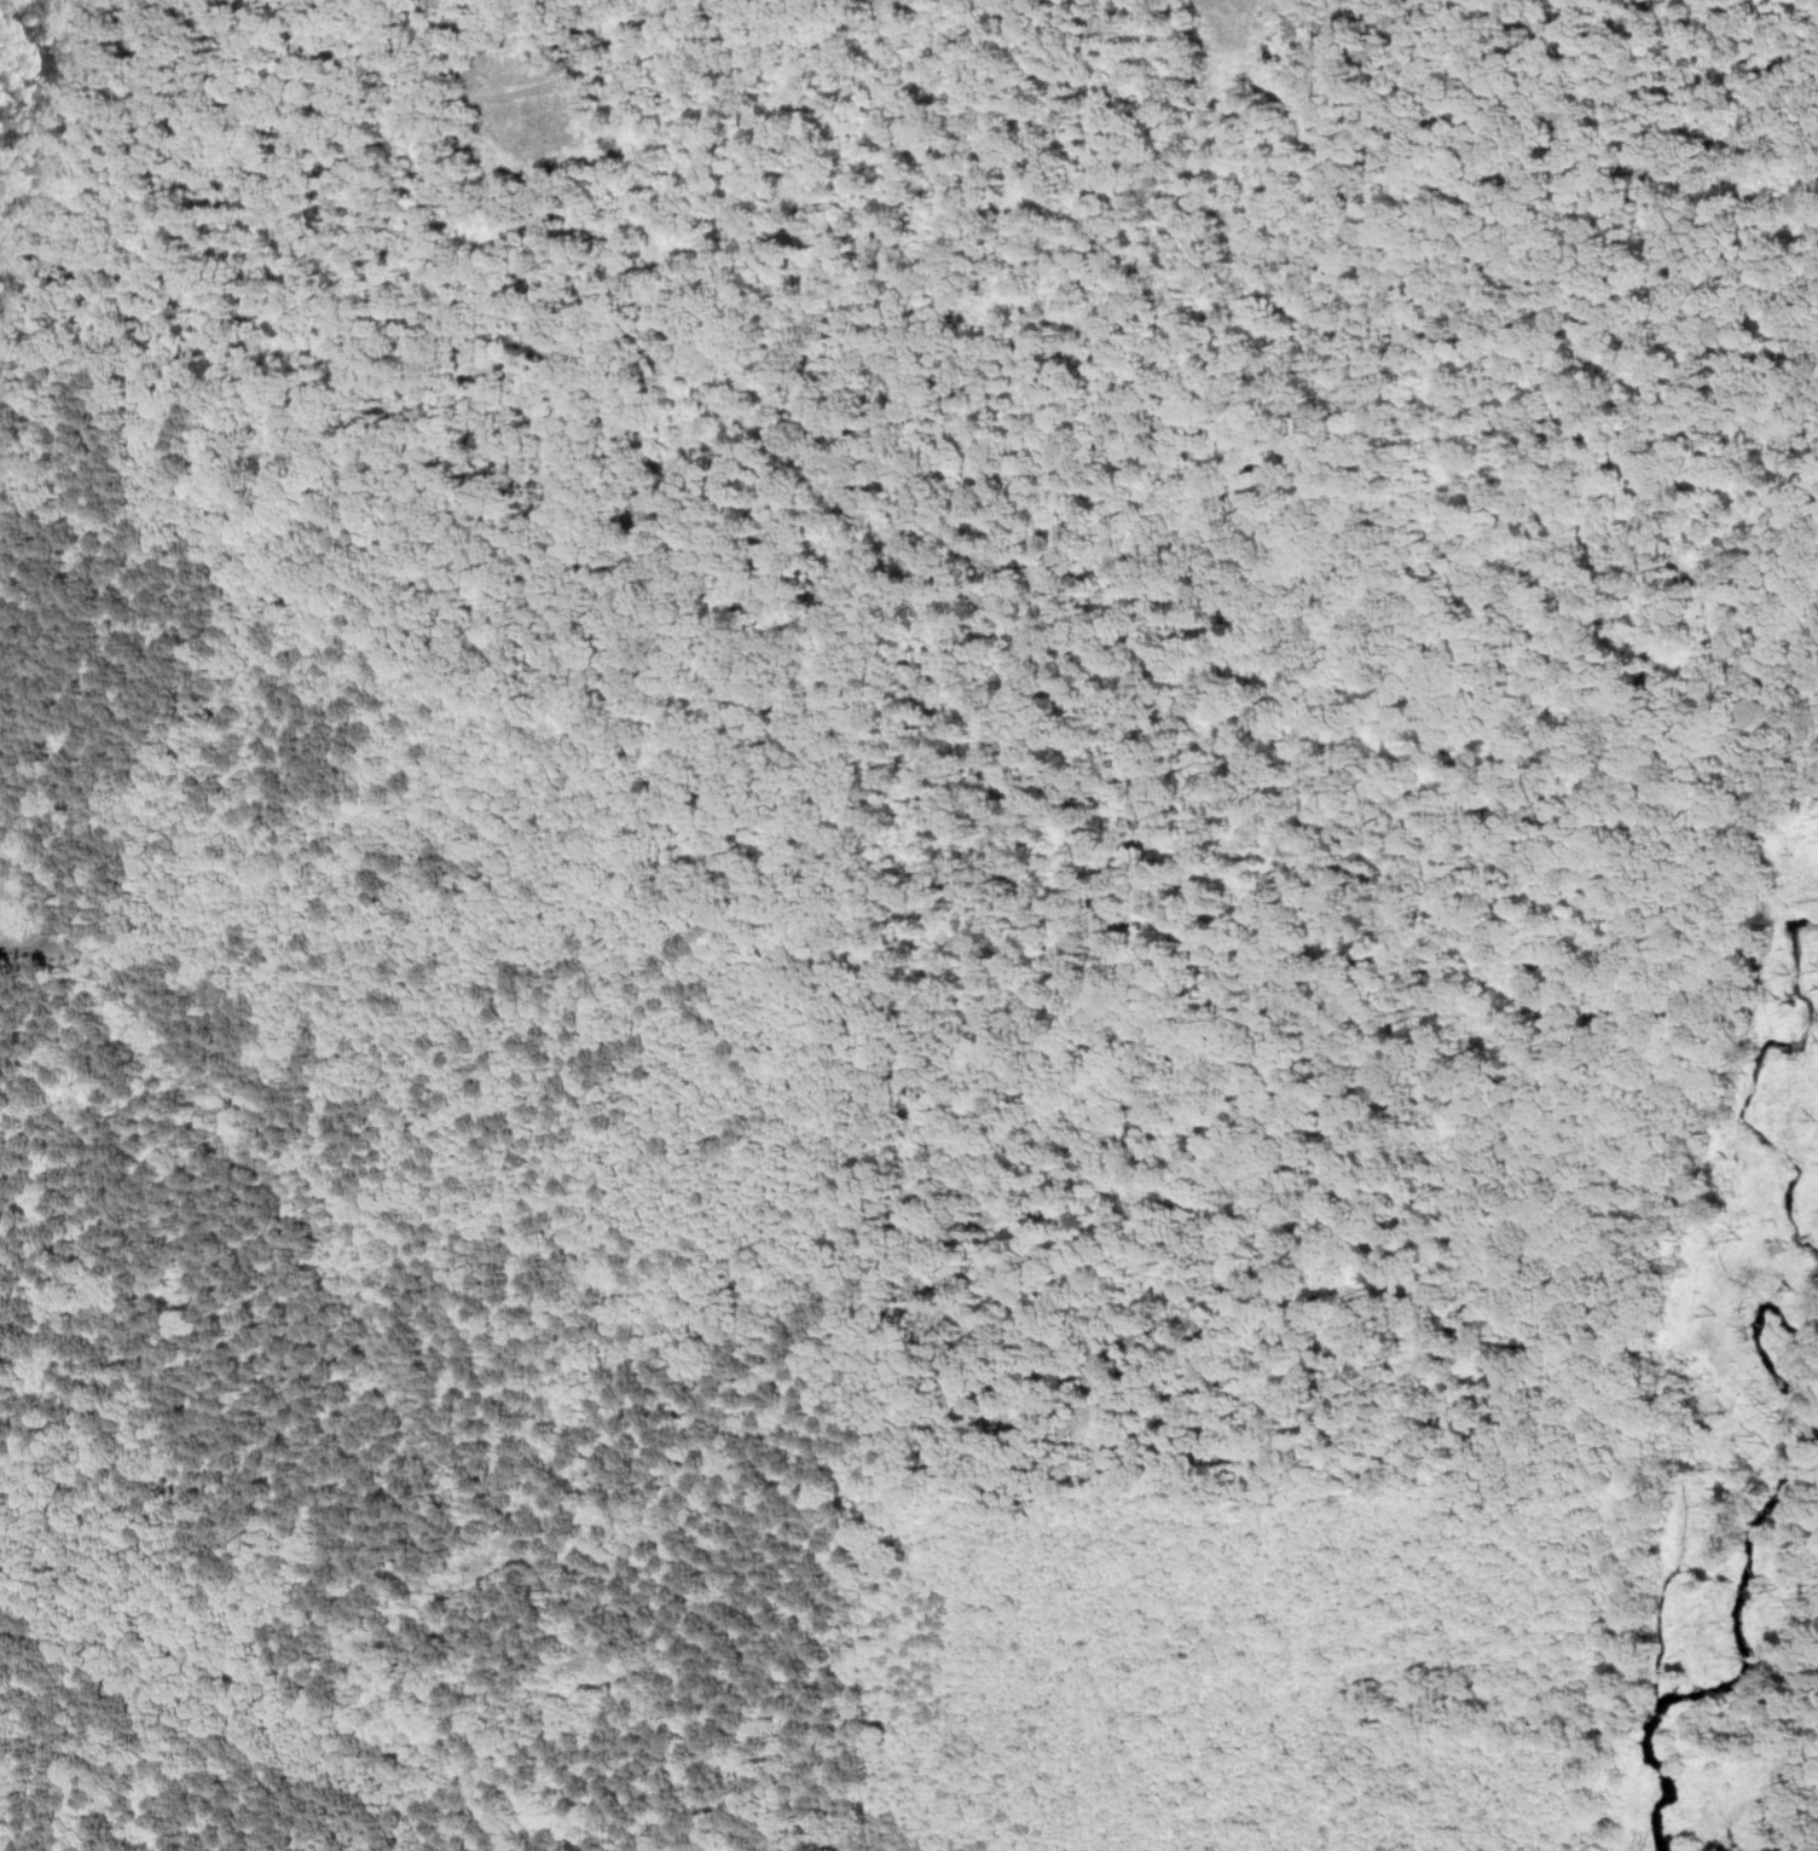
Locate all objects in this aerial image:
road: (427, 1353)

